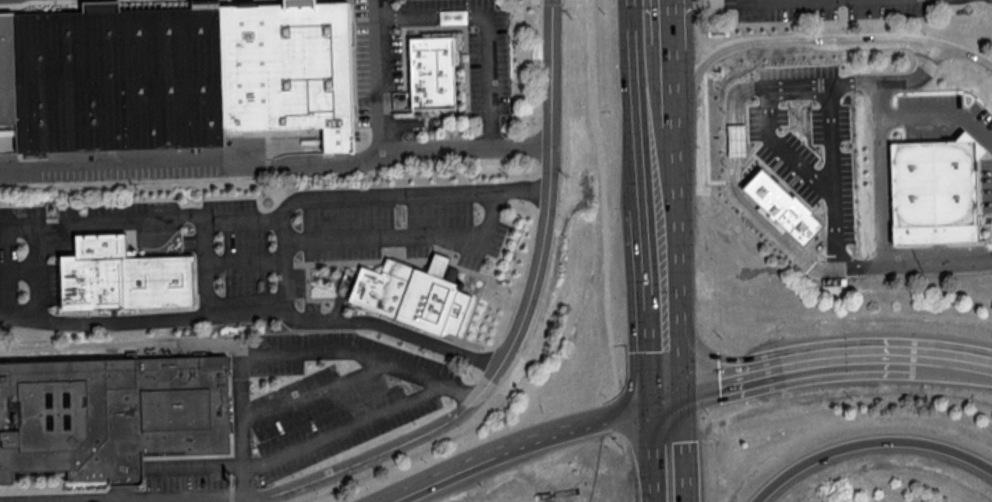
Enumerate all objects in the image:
road: (537, 0)
road: (552, 0)
parking lot: (824, 8)
building: (453, 16)
road: (657, 24)
road: (483, 29)
road: (863, 40)
road: (733, 42)
road: (945, 45)
road: (918, 49)
road: (938, 59)
building: (436, 75)
building: (173, 77)
road: (383, 78)
road: (659, 78)
road: (879, 83)
road: (890, 114)
road: (950, 114)
road: (660, 116)
parking lot: (944, 118)
road: (782, 149)
road: (275, 160)
road: (735, 160)
parking lot: (793, 161)
road: (661, 164)
road: (602, 172)
road: (882, 175)
road: (834, 177)
parking lot: (987, 185)
building: (936, 191)
road: (374, 193)
building: (782, 206)
road: (171, 222)
road: (397, 235)
road: (34, 256)
road: (244, 262)
road: (665, 263)
road: (913, 265)
road: (17, 268)
road: (283, 275)
building: (124, 278)
building: (413, 294)
road: (253, 312)
road: (524, 319)
road: (197, 346)
road: (362, 354)
road: (952, 358)
road: (667, 361)
road: (787, 362)
road: (315, 394)
traffic signals: (668, 400)
building: (112, 416)
road: (345, 427)
road: (582, 427)
road: (867, 440)
road: (669, 451)
road: (201, 464)
road: (434, 476)
road: (446, 479)
road: (245, 500)

